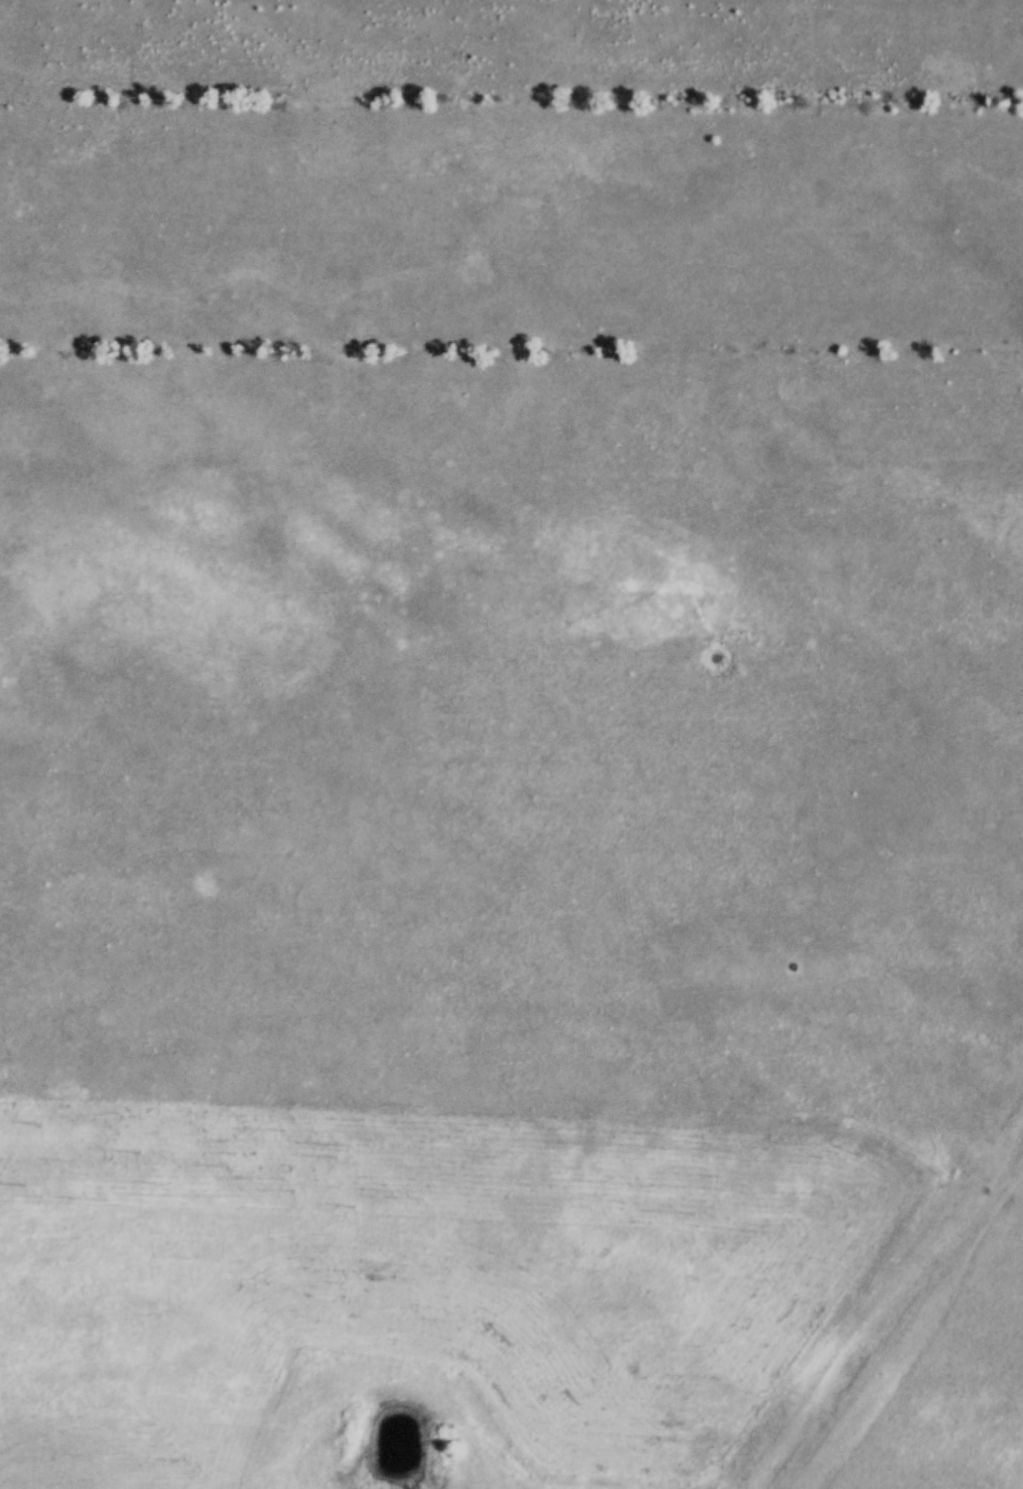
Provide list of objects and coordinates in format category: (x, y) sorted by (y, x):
road: (735, 1484)

